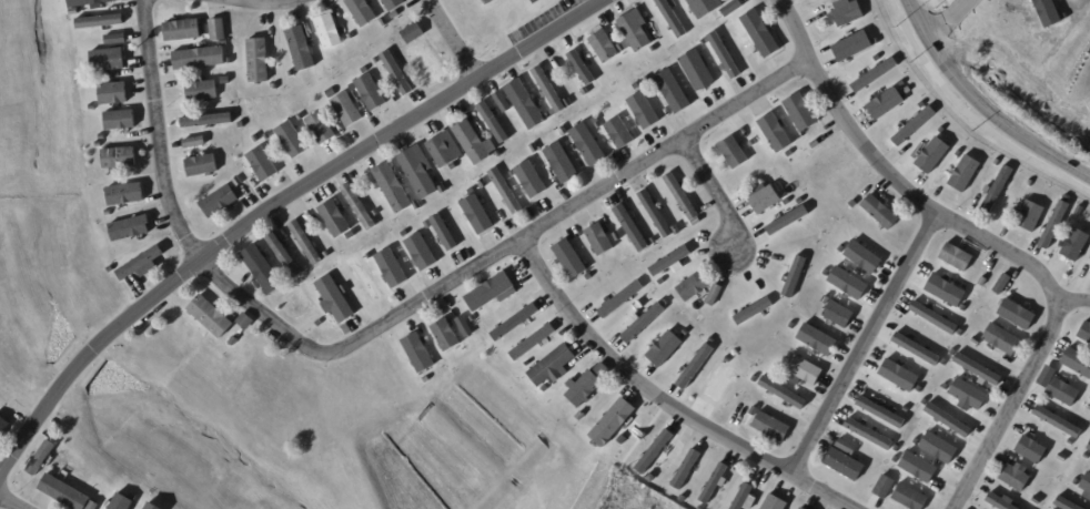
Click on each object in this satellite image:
road: (268, 0)
park: (485, 1)
building: (534, 1)
building: (90, 2)
building: (396, 4)
building: (705, 7)
building: (733, 8)
building: (362, 11)
building: (74, 12)
building: (396, 14)
building: (849, 14)
road: (528, 16)
building: (672, 18)
parking lot: (539, 19)
road: (949, 19)
building: (385, 21)
building: (100, 22)
building: (184, 30)
building: (219, 30)
building: (731, 30)
building: (330, 32)
building: (635, 32)
building: (415, 33)
building: (760, 33)
building: (718, 35)
building: (351, 37)
building: (117, 39)
road: (448, 39)
building: (224, 43)
building: (856, 44)
building: (659, 45)
building: (604, 48)
building: (623, 48)
building: (302, 49)
building: (654, 49)
building: (724, 58)
building: (877, 58)
building: (199, 59)
building: (109, 60)
building: (258, 61)
building: (377, 61)
building: (426, 62)
building: (582, 68)
building: (397, 72)
building: (698, 72)
building: (292, 74)
building: (875, 75)
building: (648, 79)
building: (901, 84)
building: (275, 86)
building: (636, 86)
building: (548, 90)
building: (201, 91)
building: (673, 91)
building: (907, 91)
building: (332, 92)
building: (371, 93)
building: (113, 94)
building: (568, 102)
building: (504, 103)
building: (525, 104)
building: (886, 104)
building: (921, 104)
building: (92, 108)
building: (218, 108)
road: (979, 108)
building: (346, 109)
building: (644, 111)
building: (801, 113)
building: (549, 115)
road: (970, 115)
building: (301, 116)
building: (120, 120)
building: (204, 121)
building: (494, 123)
building: (598, 125)
building: (914, 126)
building: (321, 129)
building: (563, 131)
building: (941, 131)
road: (157, 132)
building: (619, 133)
building: (775, 133)
building: (102, 136)
building: (268, 138)
building: (256, 139)
building: (292, 140)
building: (196, 143)
building: (472, 143)
building: (100, 144)
building: (588, 144)
building: (815, 144)
building: (535, 149)
building: (496, 150)
building: (441, 152)
building: (522, 153)
building: (735, 153)
building: (959, 154)
building: (933, 156)
building: (559, 159)
building: (120, 160)
building: (998, 162)
building: (262, 164)
building: (202, 166)
building: (418, 174)
building: (963, 174)
building: (532, 180)
building: (239, 182)
building: (483, 183)
building: (1030, 183)
building: (393, 187)
building: (998, 190)
building: (505, 191)
road: (714, 191)
building: (127, 194)
building: (765, 198)
building: (682, 201)
building: (220, 202)
building: (800, 202)
building: (452, 203)
building: (787, 203)
road: (270, 204)
building: (418, 205)
building: (360, 206)
building: (139, 210)
building: (1080, 210)
building: (880, 212)
building: (109, 213)
building: (377, 214)
building: (477, 215)
building: (657, 215)
building: (1030, 216)
building: (336, 218)
building: (788, 221)
building: (1054, 225)
building: (131, 228)
building: (632, 228)
building: (677, 231)
building: (445, 233)
building: (404, 234)
building: (617, 236)
building: (599, 240)
road: (987, 242)
building: (306, 243)
building: (1077, 245)
road: (501, 250)
building: (841, 250)
building: (421, 253)
building: (635, 253)
building: (283, 255)
building: (327, 255)
building: (370, 256)
building: (864, 257)
building: (957, 257)
building: (1089, 257)
building: (670, 261)
building: (140, 263)
building: (341, 263)
building: (573, 263)
building: (306, 268)
building: (111, 269)
building: (263, 269)
building: (392, 269)
building: (827, 273)
building: (795, 276)
building: (365, 279)
building: (599, 279)
building: (662, 282)
building: (983, 282)
building: (849, 284)
building: (1003, 284)
building: (694, 286)
building: (346, 289)
building: (494, 291)
building: (946, 291)
building: (715, 294)
building: (335, 298)
building: (620, 299)
building: (826, 299)
road: (1073, 299)
building: (667, 302)
building: (302, 305)
building: (965, 308)
building: (754, 311)
building: (1017, 314)
building: (839, 315)
building: (212, 317)
building: (933, 318)
building: (246, 322)
building: (515, 322)
building: (643, 323)
building: (793, 326)
building: (466, 327)
building: (686, 333)
building: (962, 333)
building: (1086, 333)
building: (445, 336)
building: (1002, 339)
building: (711, 340)
building: (817, 340)
building: (532, 342)
building: (977, 342)
building: (234, 343)
road: (861, 344)
building: (665, 349)
building: (917, 350)
building: (953, 353)
building: (421, 357)
building: (728, 359)
building: (946, 363)
building: (1077, 363)
building: (556, 364)
building: (696, 366)
building: (805, 369)
building: (978, 370)
building: (900, 376)
building: (438, 379)
building: (755, 379)
building: (720, 383)
building: (947, 387)
building: (1058, 387)
building: (584, 388)
building: (921, 390)
building: (784, 393)
building: (970, 395)
road: (664, 400)
building: (926, 403)
building: (907, 409)
building: (755, 411)
building: (881, 413)
building: (582, 416)
building: (948, 420)
building: (613, 423)
building: (1059, 423)
building: (3, 426)
building: (771, 427)
building: (869, 435)
building: (917, 442)
building: (1071, 442)
building: (1088, 446)
building: (848, 448)
building: (940, 448)
building: (898, 449)
building: (1032, 450)
building: (654, 451)
building: (1062, 457)
building: (896, 460)
building: (38, 464)
building: (846, 465)
building: (918, 468)
building: (686, 469)
building: (1016, 478)
building: (713, 483)
building: (886, 487)
building: (1087, 487)
building: (124, 488)
building: (65, 493)
building: (911, 498)
building: (130, 499)
building: (683, 499)
building: (741, 500)
building: (1038, 500)
building: (119, 501)
road: (10, 502)
building: (776, 502)
building: (999, 502)
building: (1067, 505)
building: (152, 507)
building: (799, 508)
building: (801, 508)

